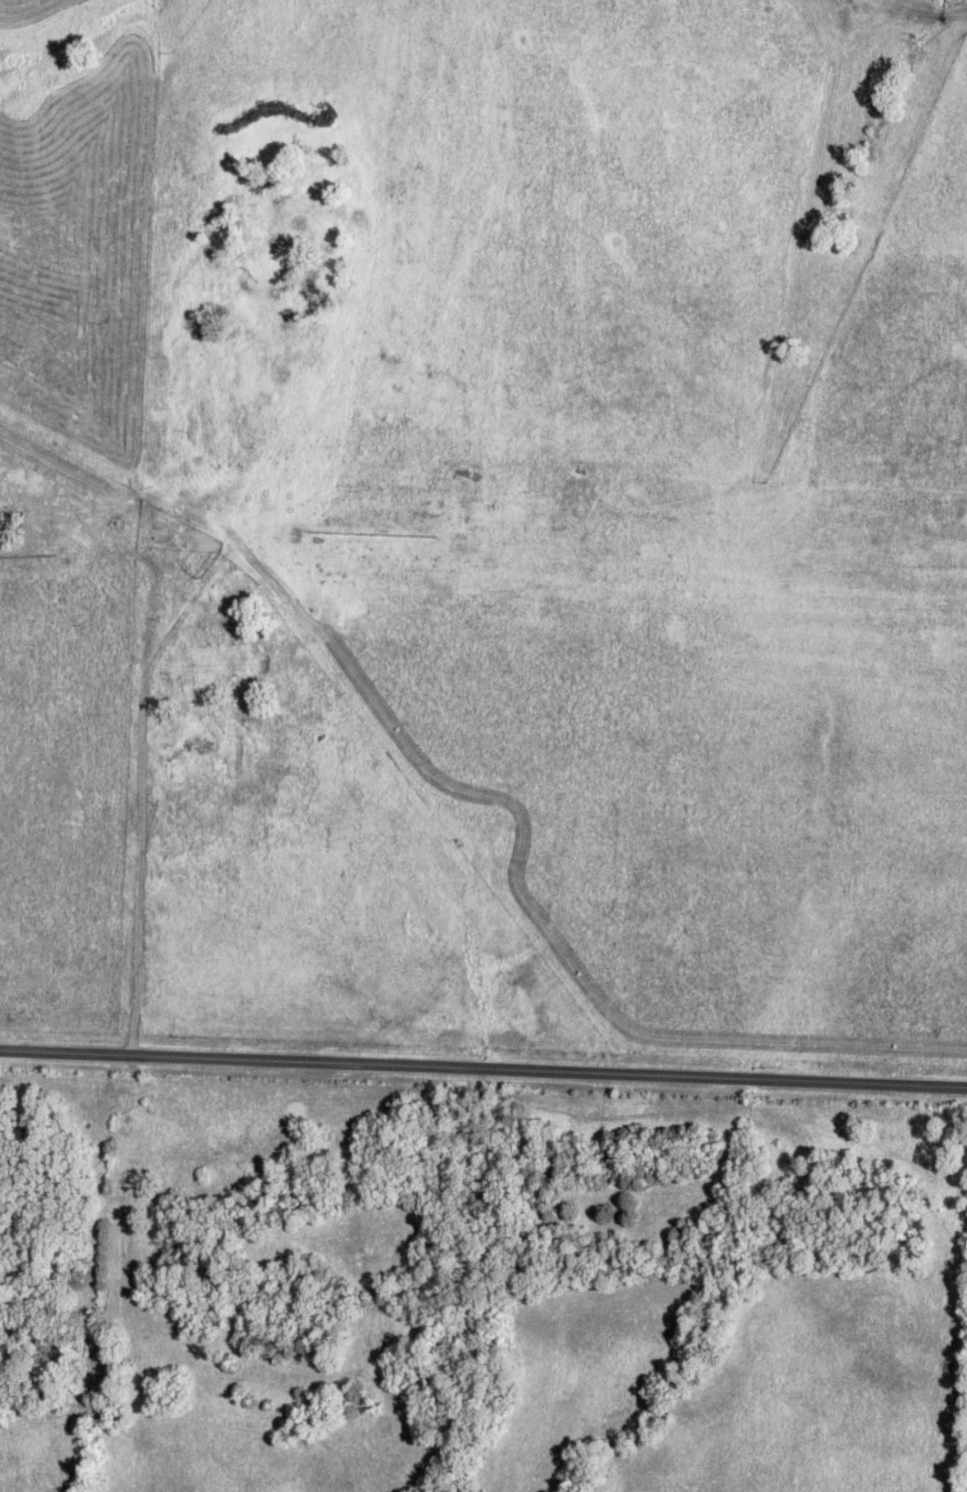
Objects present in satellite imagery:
building: (238, 593)
road: (483, 1065)

